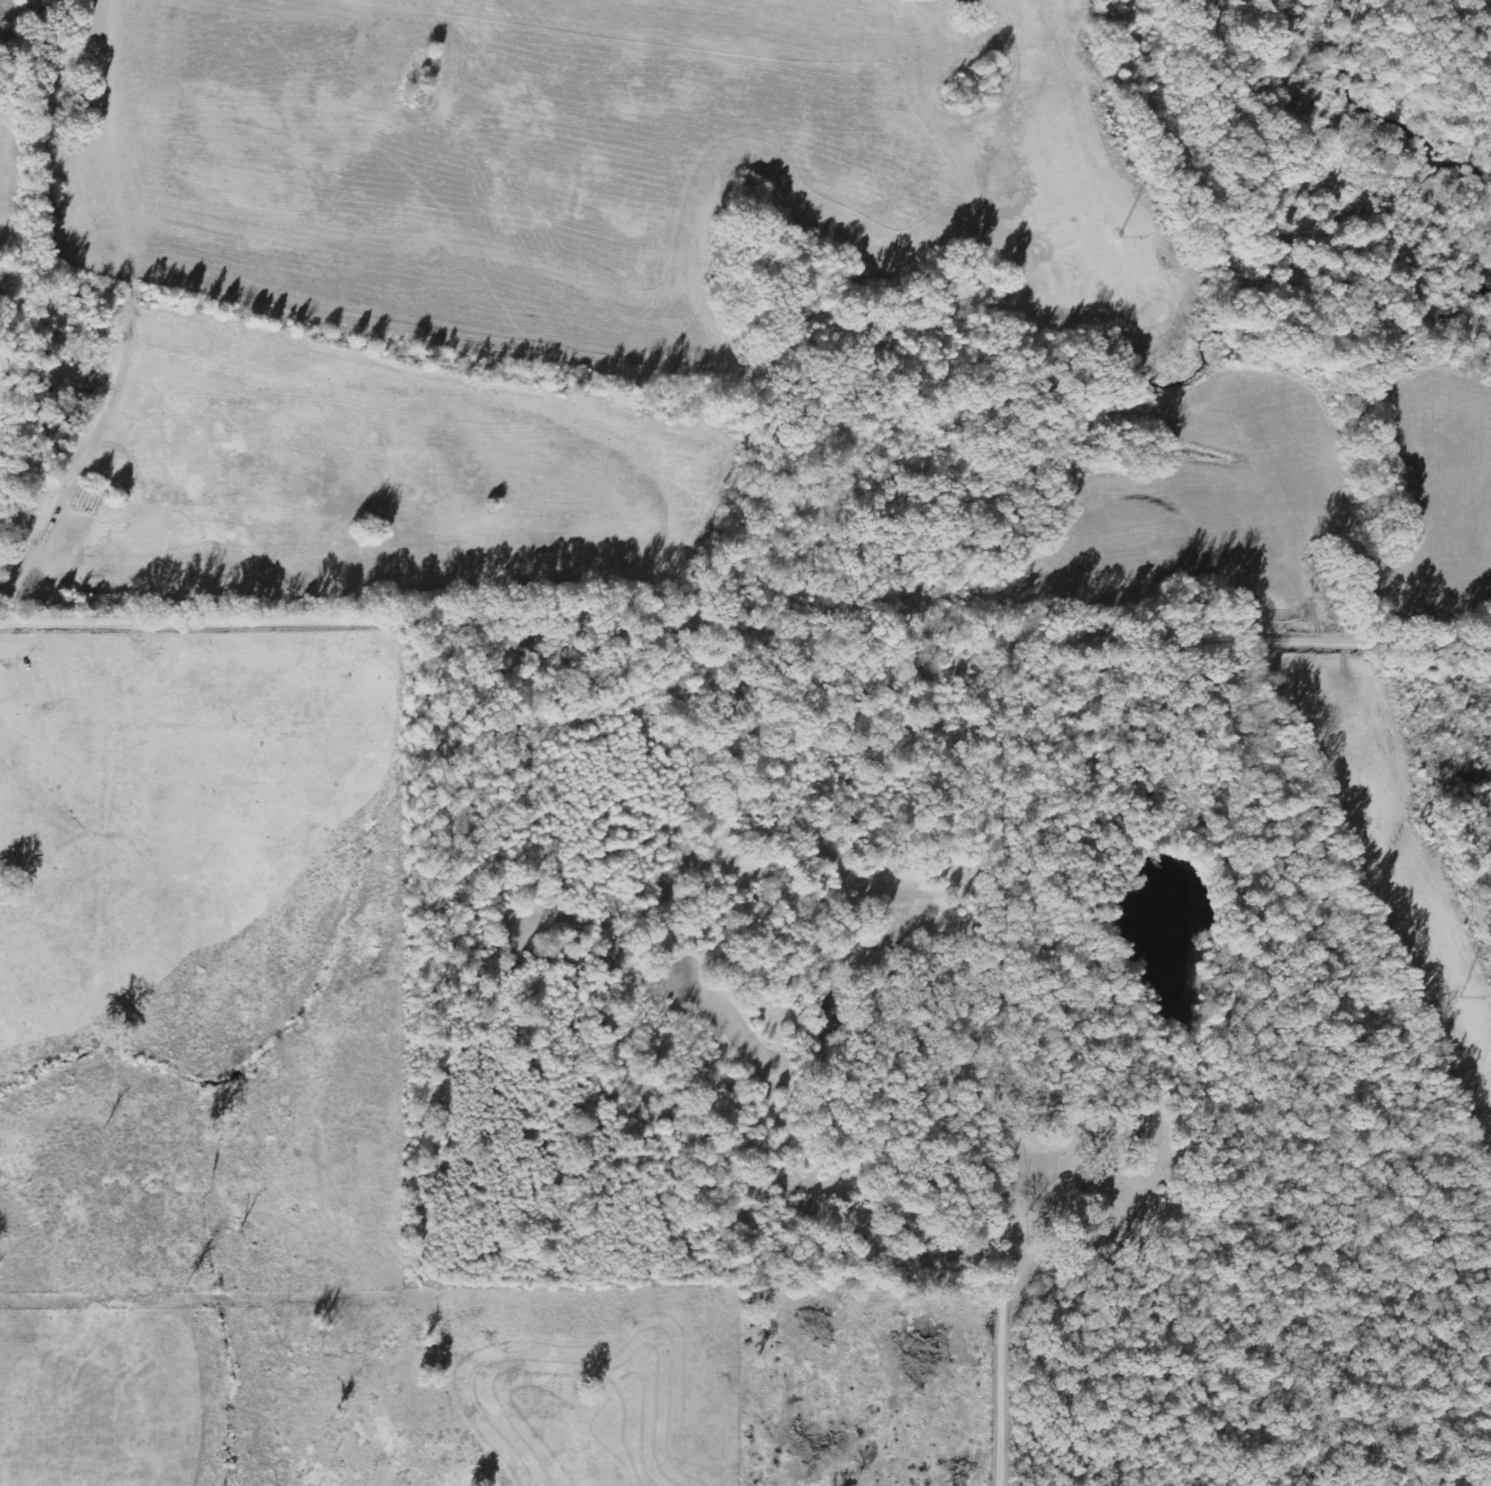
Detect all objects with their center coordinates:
power tower: (1114, 236)
road: (745, 630)
power tower: (1455, 996)
road: (1008, 1061)
park: (1106, 1177)

